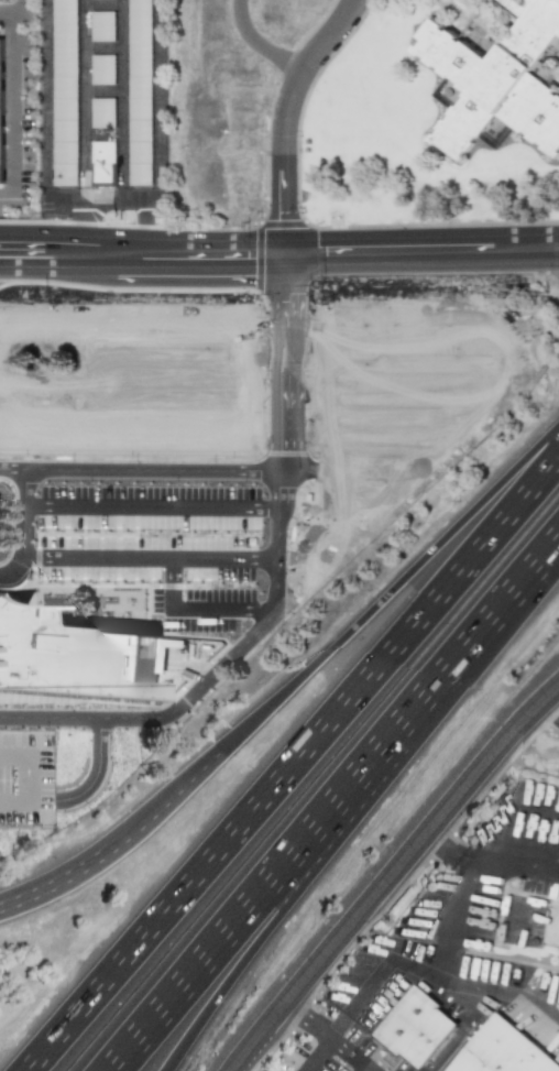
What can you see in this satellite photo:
road: (103, 1)
road: (19, 4)
building: (106, 24)
road: (260, 42)
road: (103, 46)
building: (105, 68)
building: (500, 84)
road: (103, 89)
building: (66, 91)
building: (140, 91)
road: (85, 98)
road: (122, 99)
road: (19, 105)
building: (1, 107)
building: (10, 110)
building: (106, 111)
road: (45, 116)
road: (287, 116)
road: (156, 138)
building: (105, 162)
road: (79, 225)
road: (42, 233)
road: (319, 251)
traffic signals: (285, 252)
road: (41, 266)
road: (7, 270)
traffic signals: (284, 295)
road: (119, 327)
road: (423, 327)
road: (284, 335)
building: (524, 340)
road: (423, 374)
road: (239, 379)
road: (119, 381)
road: (331, 398)
building: (171, 411)
road: (395, 424)
road: (119, 429)
road: (416, 465)
road: (11, 469)
road: (151, 470)
road: (343, 471)
building: (191, 485)
building: (34, 492)
road: (150, 507)
building: (268, 511)
parking lot: (141, 522)
road: (23, 532)
road: (147, 558)
building: (169, 559)
building: (251, 581)
road: (167, 583)
road: (388, 590)
road: (216, 609)
road: (229, 656)
building: (73, 659)
road: (552, 708)
road: (26, 732)
road: (294, 762)
road: (95, 773)
building: (25, 779)
parking garage: (25, 779)
road: (26, 779)
road: (161, 807)
road: (332, 807)
road: (495, 850)
road: (555, 855)
road: (393, 877)
road: (54, 887)
road: (243, 941)
road: (439, 947)
road: (394, 970)
building: (418, 1025)
road: (460, 1034)
road: (327, 1037)
building: (506, 1049)
road: (318, 1056)
road: (361, 1069)

